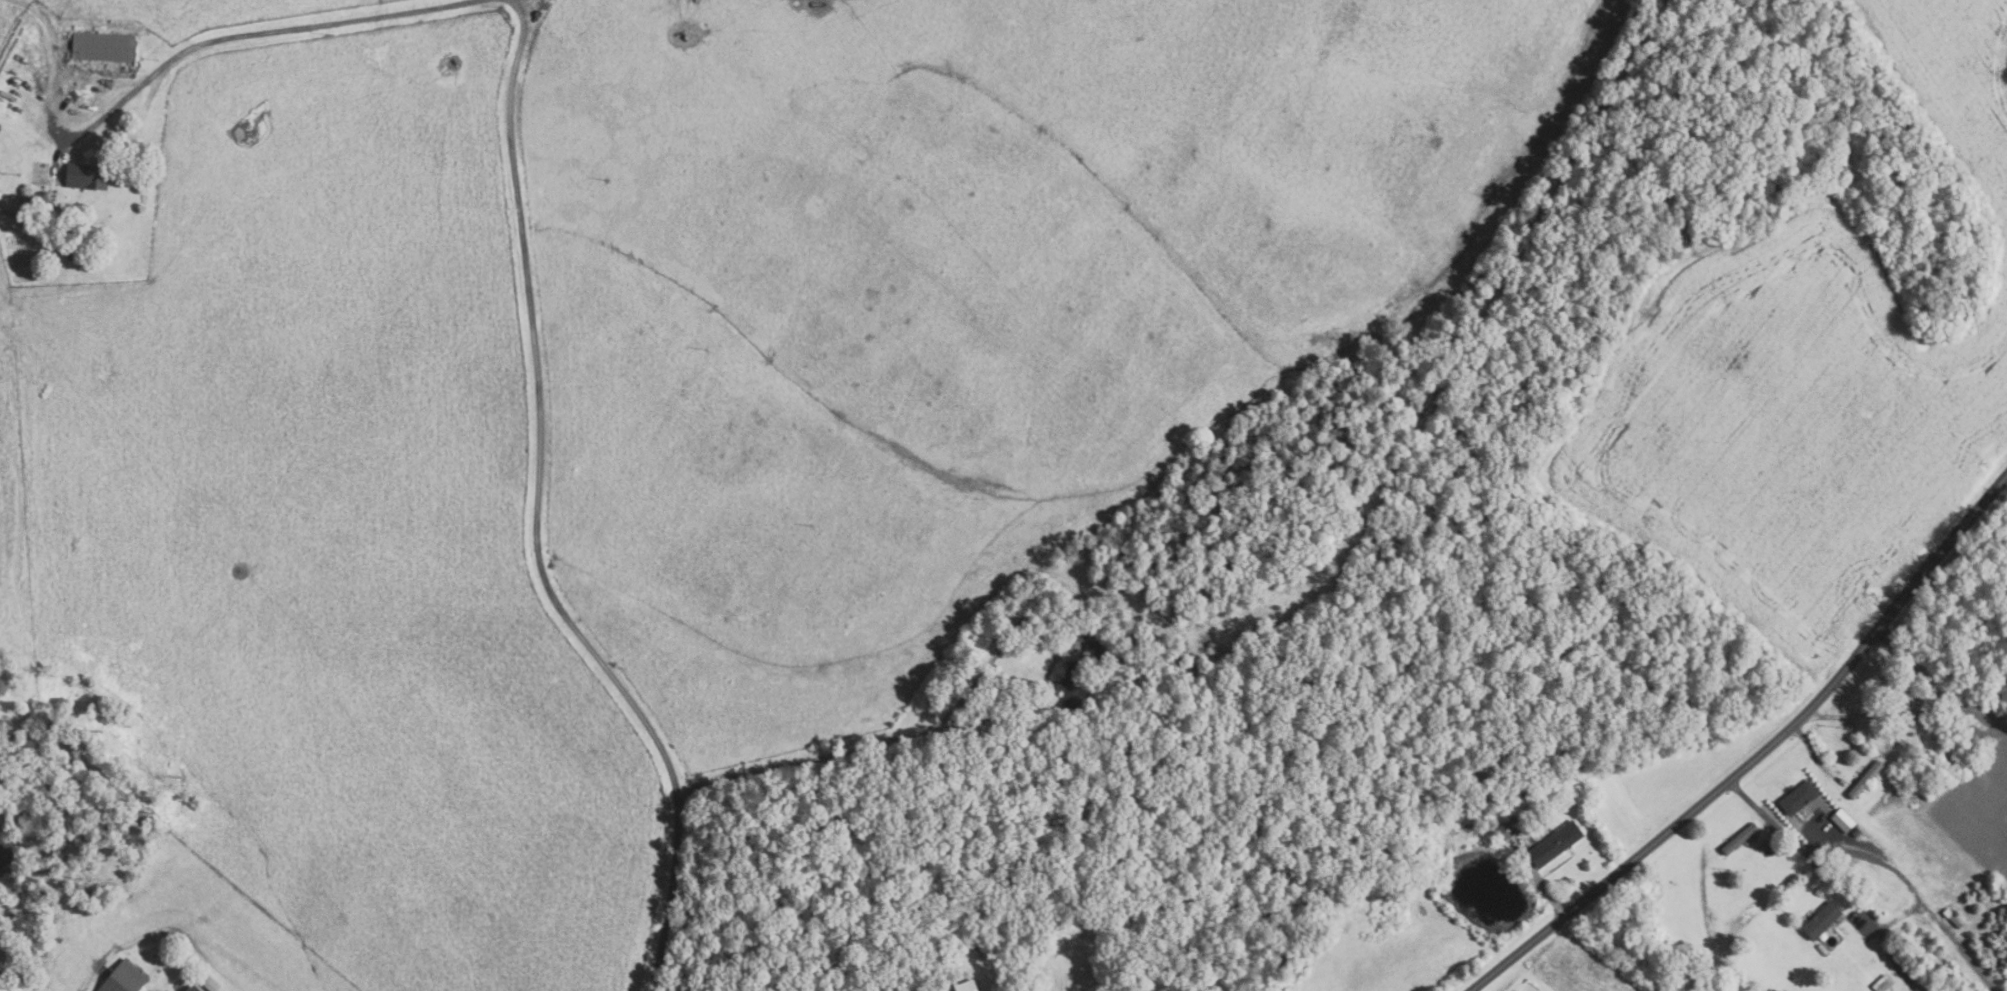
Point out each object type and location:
road: (236, 36)
building: (105, 47)
building: (88, 176)
building: (38, 200)
crop: (1800, 402)
road: (536, 515)
building: (1081, 667)
building: (1940, 696)
road: (1890, 702)
building: (1911, 708)
building: (1910, 732)
road: (1759, 753)
road: (1814, 756)
building: (1862, 779)
building: (1796, 797)
building: (1458, 811)
building: (1841, 819)
building: (1504, 829)
building: (1854, 832)
building: (1737, 837)
building: (1552, 844)
building: (1770, 849)
road: (1830, 877)
road: (1541, 884)
road: (1913, 891)
road: (1900, 916)
building: (1949, 916)
building: (1819, 920)
building: (172, 966)
building: (125, 978)
building: (209, 981)
building: (1881, 983)
building: (968, 986)
building: (193, 988)

